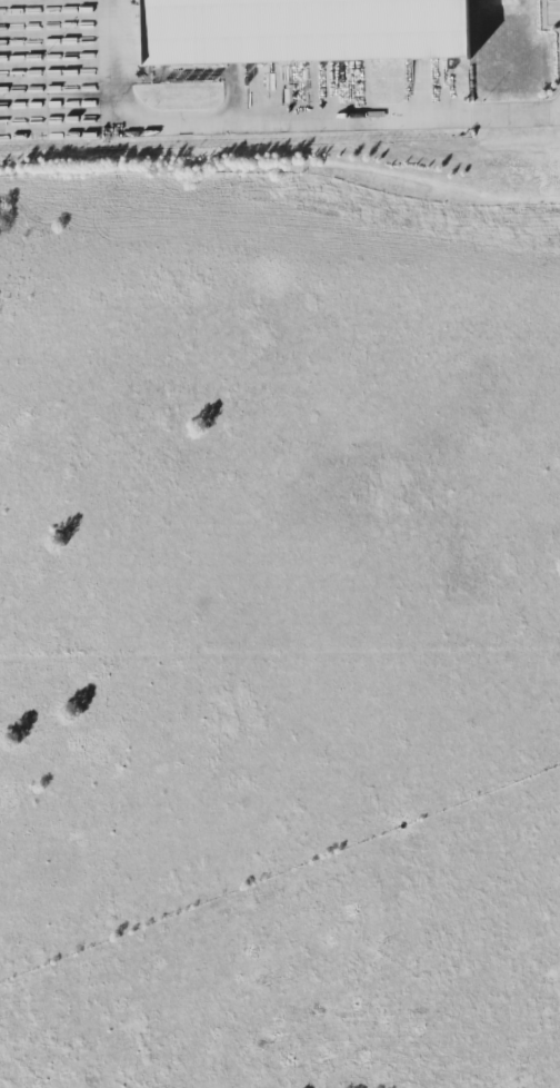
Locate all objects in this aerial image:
building: (293, 28)
road: (282, 118)

